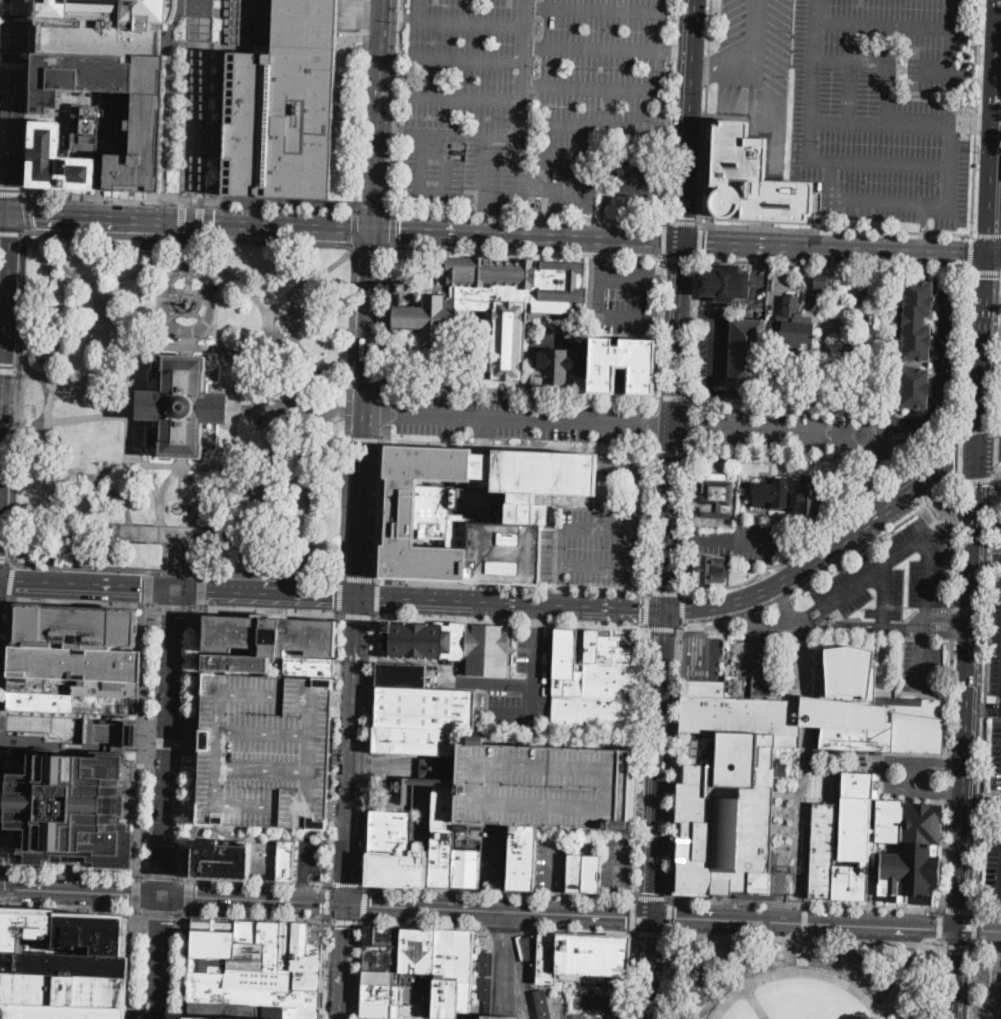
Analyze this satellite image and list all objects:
road: (418, 11)
road: (602, 11)
building: (236, 21)
road: (253, 24)
road: (364, 24)
building: (106, 25)
road: (472, 25)
road: (658, 25)
road: (709, 26)
road: (885, 26)
road: (951, 46)
road: (225, 47)
road: (601, 47)
road: (675, 53)
parking lot: (754, 56)
road: (747, 57)
road: (15, 63)
road: (470, 63)
road: (881, 63)
road: (347, 67)
road: (708, 69)
building: (81, 75)
road: (591, 88)
road: (850, 92)
road: (29, 97)
road: (469, 98)
parking lot: (525, 98)
road: (195, 100)
building: (287, 105)
road: (398, 105)
road: (15, 106)
road: (524, 107)
road: (607, 108)
road: (670, 110)
parking lot: (887, 110)
road: (382, 114)
road: (968, 116)
road: (978, 117)
road: (688, 121)
parking lot: (283, 124)
road: (901, 125)
road: (558, 126)
road: (972, 127)
road: (359, 128)
road: (631, 128)
road: (992, 128)
road: (997, 128)
building: (142, 131)
road: (395, 134)
road: (434, 136)
building: (69, 150)
building: (610, 150)
road: (485, 151)
road: (703, 153)
road: (556, 155)
road: (877, 164)
building: (751, 177)
building: (634, 179)
road: (421, 187)
road: (11, 193)
road: (566, 193)
road: (189, 200)
road: (183, 203)
road: (200, 204)
building: (538, 204)
road: (374, 209)
road: (5, 212)
traffic signals: (11, 213)
road: (25, 213)
road: (532, 214)
road: (544, 214)
road: (96, 216)
road: (529, 216)
road: (182, 218)
road: (199, 219)
road: (682, 221)
traffic signals: (214, 222)
road: (279, 224)
road: (356, 227)
traffic signals: (377, 229)
road: (393, 229)
road: (835, 229)
road: (924, 229)
road: (11, 233)
road: (986, 235)
road: (182, 236)
road: (198, 236)
road: (664, 239)
road: (189, 240)
road: (698, 240)
road: (682, 242)
traffic signals: (683, 243)
road: (374, 246)
road: (599, 250)
road: (528, 252)
road: (972, 252)
traffic signals: (988, 256)
road: (994, 256)
road: (681, 258)
road: (835, 264)
road: (147, 270)
road: (986, 271)
road: (72, 272)
road: (312, 279)
road: (620, 281)
building: (725, 282)
road: (670, 283)
building: (402, 288)
building: (558, 289)
building: (820, 292)
building: (838, 294)
parking lot: (626, 296)
road: (993, 299)
road: (6, 306)
building: (480, 307)
road: (690, 311)
road: (609, 316)
road: (286, 319)
road: (668, 319)
road: (299, 320)
road: (372, 320)
building: (917, 320)
building: (796, 324)
road: (389, 325)
road: (993, 327)
road: (697, 328)
road: (679, 334)
road: (661, 335)
road: (186, 340)
road: (185, 344)
parking lot: (947, 344)
road: (188, 347)
road: (712, 347)
parking lot: (713, 351)
road: (967, 351)
building: (747, 353)
road: (983, 355)
building: (623, 363)
building: (557, 365)
road: (132, 366)
road: (8, 371)
road: (939, 375)
building: (915, 388)
road: (998, 391)
road: (522, 392)
road: (16, 396)
road: (1, 398)
road: (676, 398)
traffic signals: (2, 399)
road: (48, 400)
road: (770, 401)
park: (183, 405)
road: (289, 405)
building: (183, 406)
road: (693, 408)
road: (999, 409)
road: (350, 411)
road: (709, 411)
road: (386, 413)
road: (258, 418)
road: (289, 418)
road: (72, 419)
parking lot: (519, 420)
road: (530, 420)
road: (7, 423)
road: (0, 424)
road: (235, 424)
road: (657, 424)
road: (258, 425)
road: (692, 427)
parking lot: (769, 428)
road: (770, 429)
road: (978, 429)
road: (329, 430)
road: (886, 430)
road: (365, 440)
road: (519, 447)
road: (996, 450)
road: (989, 451)
road: (673, 452)
traffic signals: (978, 455)
road: (960, 456)
road: (884, 460)
road: (179, 465)
road: (998, 467)
road: (623, 470)
road: (77, 472)
road: (977, 479)
building: (772, 494)
building: (718, 496)
road: (156, 498)
building: (544, 498)
building: (809, 498)
road: (202, 499)
road: (613, 500)
road: (380, 502)
road: (365, 506)
building: (474, 511)
road: (84, 513)
road: (652, 514)
road: (687, 514)
road: (268, 515)
road: (669, 517)
road: (631, 519)
road: (937, 519)
road: (934, 522)
road: (827, 527)
parking lot: (603, 529)
road: (597, 530)
road: (181, 535)
road: (727, 539)
road: (874, 539)
parking lot: (738, 541)
road: (956, 546)
road: (828, 550)
road: (177, 552)
road: (562, 557)
road: (987, 557)
road: (1000, 558)
road: (5, 560)
road: (595, 567)
building: (712, 569)
road: (176, 570)
road: (359, 577)
road: (860, 580)
road: (927, 580)
road: (11, 581)
road: (149, 584)
road: (89, 587)
road: (201, 587)
road: (513, 587)
traffic signals: (140, 590)
road: (341, 592)
road: (665, 593)
road: (884, 594)
road: (269, 595)
road: (561, 595)
road: (377, 598)
road: (5, 599)
parking lot: (890, 599)
traffic signals: (361, 600)
road: (784, 601)
road: (86, 602)
road: (483, 603)
road: (784, 604)
road: (175, 608)
road: (636, 608)
road: (263, 609)
road: (766, 609)
road: (647, 610)
traffic signals: (666, 610)
road: (682, 610)
road: (358, 614)
traffic signals: (177, 615)
road: (745, 616)
road: (947, 619)
road: (512, 620)
road: (537, 620)
road: (761, 621)
road: (708, 625)
road: (857, 625)
road: (953, 625)
building: (80, 626)
road: (664, 627)
road: (948, 633)
building: (265, 641)
building: (453, 645)
road: (510, 647)
road: (924, 657)
building: (76, 663)
building: (311, 665)
building: (401, 674)
road: (534, 675)
parking lot: (998, 682)
building: (41, 684)
building: (595, 684)
road: (499, 685)
building: (108, 687)
road: (985, 688)
parking lot: (522, 689)
road: (970, 692)
road: (346, 700)
building: (40, 701)
building: (108, 704)
building: (424, 707)
road: (511, 715)
road: (42, 725)
road: (4, 735)
building: (416, 739)
road: (143, 740)
road: (194, 741)
road: (149, 743)
road: (169, 743)
road: (170, 744)
road: (189, 744)
road: (335, 747)
building: (267, 752)
parking lot: (267, 752)
road: (354, 752)
road: (367, 753)
road: (639, 761)
road: (675, 762)
road: (659, 763)
road: (386, 764)
road: (430, 766)
building: (729, 766)
building: (430, 767)
road: (450, 767)
road: (890, 775)
parking lot: (914, 776)
road: (947, 776)
building: (533, 785)
parking lot: (533, 785)
road: (638, 799)
building: (74, 804)
road: (341, 804)
road: (261, 830)
building: (390, 831)
parking lot: (995, 837)
building: (843, 842)
building: (911, 850)
building: (442, 856)
parking lot: (309, 857)
building: (523, 857)
parking lot: (552, 858)
building: (273, 859)
parking lot: (491, 859)
building: (221, 860)
road: (498, 860)
road: (553, 860)
parking lot: (617, 863)
road: (616, 866)
building: (466, 868)
building: (400, 869)
building: (575, 872)
road: (74, 873)
road: (302, 873)
building: (591, 873)
road: (163, 874)
road: (235, 881)
road: (346, 882)
road: (301, 884)
road: (319, 885)
traffic signals: (4, 890)
road: (137, 892)
traffic signals: (654, 892)
road: (188, 893)
road: (500, 893)
road: (82, 894)
road: (651, 897)
traffic signals: (165, 898)
road: (327, 899)
road: (496, 900)
road: (551, 901)
road: (256, 902)
road: (364, 904)
road: (615, 904)
road: (807, 904)
traffic signals: (321, 905)
road: (74, 907)
traffic signals: (371, 907)
road: (428, 908)
road: (960, 909)
road: (515, 911)
road: (988, 911)
road: (161, 913)
road: (587, 913)
traffic signals: (627, 915)
road: (632, 915)
road: (670, 916)
traffic signals: (675, 916)
road: (805, 916)
road: (251, 917)
road: (345, 921)
road: (807, 922)
road: (424, 924)
building: (214, 925)
traffic signals: (347, 926)
road: (940, 927)
road: (346, 928)
road: (504, 928)
traffic signals: (934, 928)
road: (975, 929)
building: (30, 930)
road: (980, 930)
road: (577, 931)
traffic signals: (982, 931)
building: (246, 932)
building: (95, 933)
road: (650, 933)
building: (316, 934)
road: (507, 934)
building: (287, 937)
road: (809, 940)
building: (271, 945)
road: (959, 946)
road: (985, 947)
building: (228, 950)
road: (804, 950)
traffic signals: (960, 951)
building: (580, 956)
road: (162, 958)
building: (304, 961)
road: (134, 962)
road: (185, 962)
building: (487, 962)
building: (64, 964)
building: (209, 966)
road: (326, 966)
building: (415, 967)
road: (650, 967)
road: (506, 968)
road: (360, 970)
road: (487, 972)
road: (797, 972)
road: (531, 974)
road: (959, 974)
road: (630, 976)
road: (668, 977)
road: (744, 977)
park: (800, 980)
road: (937, 980)
road: (903, 982)
road: (971, 983)
road: (344, 985)
road: (522, 987)
building: (64, 990)
building: (251, 990)
road: (505, 999)
building: (519, 1010)
parking lot: (519, 1010)
building: (60, 1011)
building: (223, 1011)
building: (289, 1012)
building: (196, 1018)

